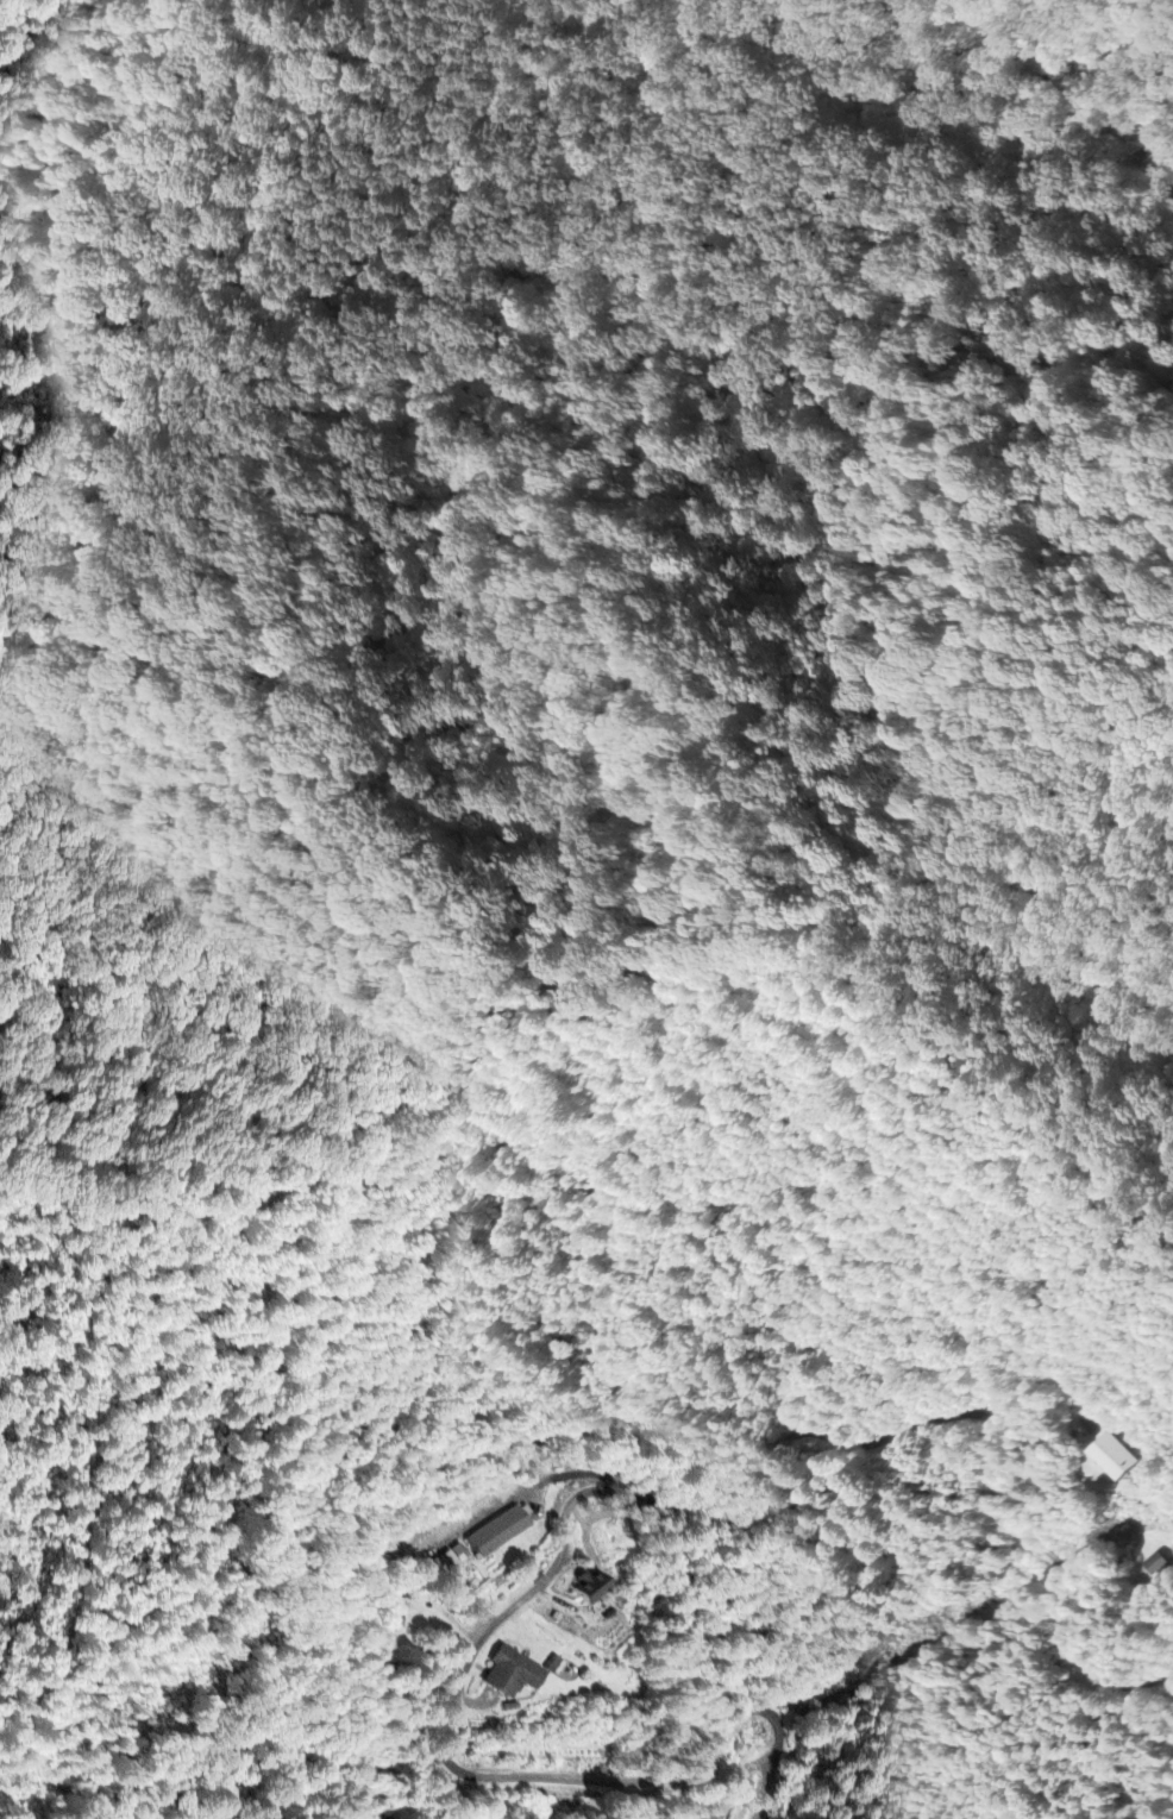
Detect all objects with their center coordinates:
road: (619, 1487)
road: (1169, 1671)

